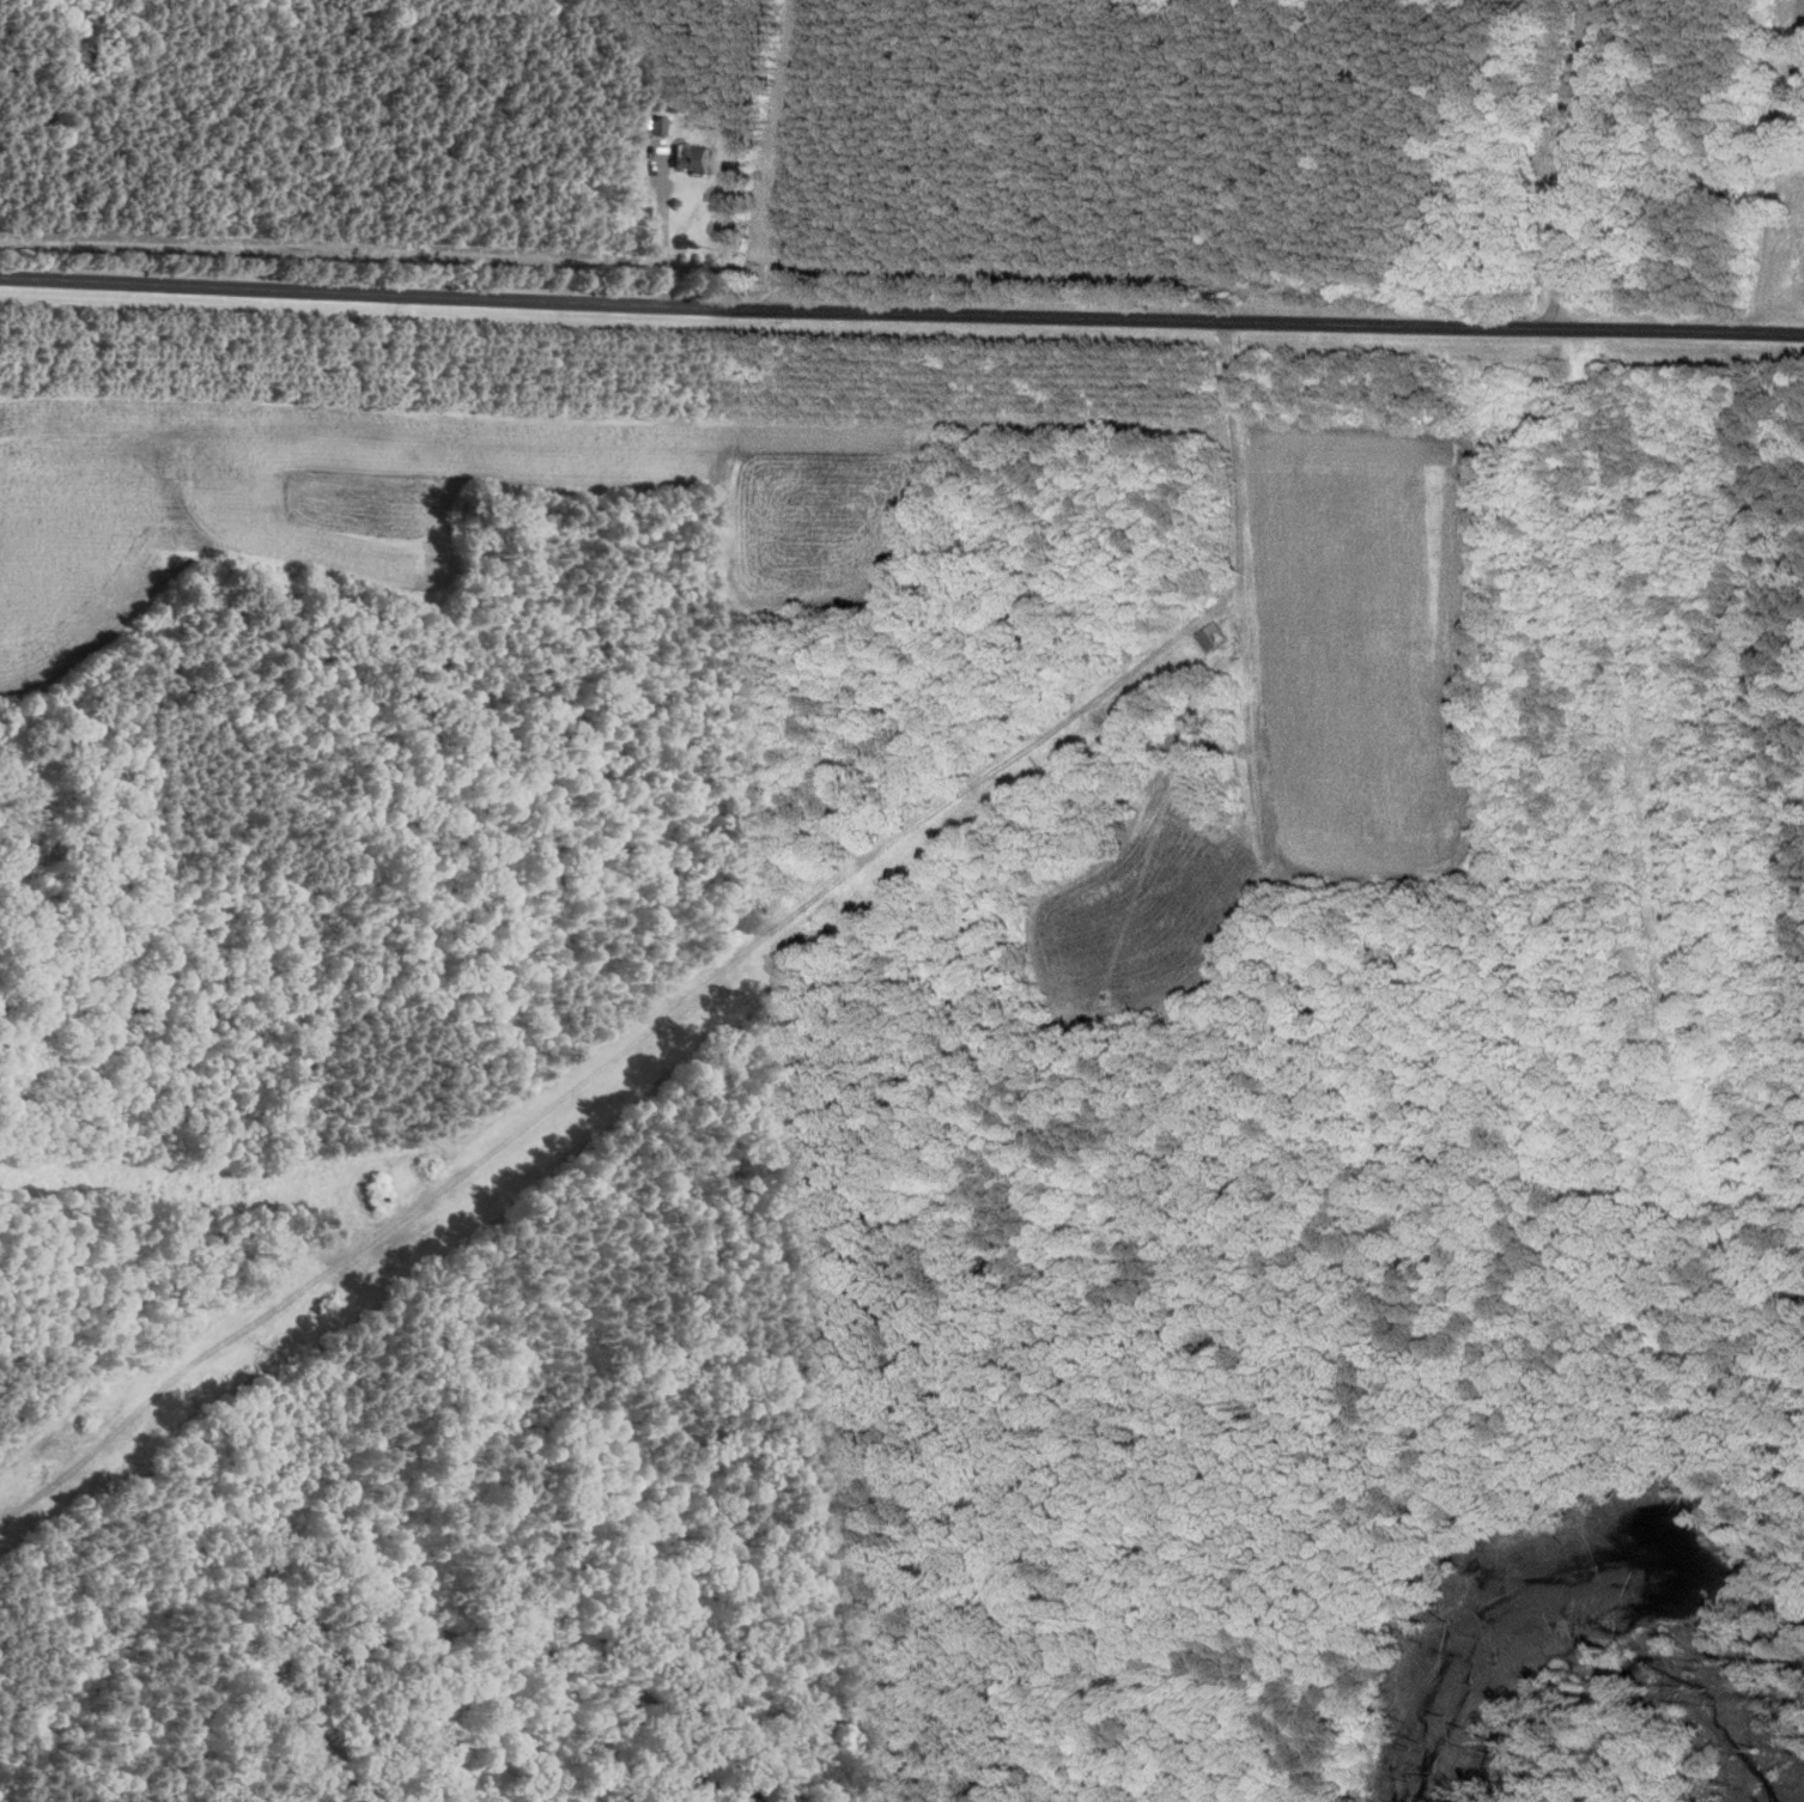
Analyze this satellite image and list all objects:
road: (801, 157)
building: (697, 160)
road: (1574, 164)
road: (664, 231)
road: (901, 315)

